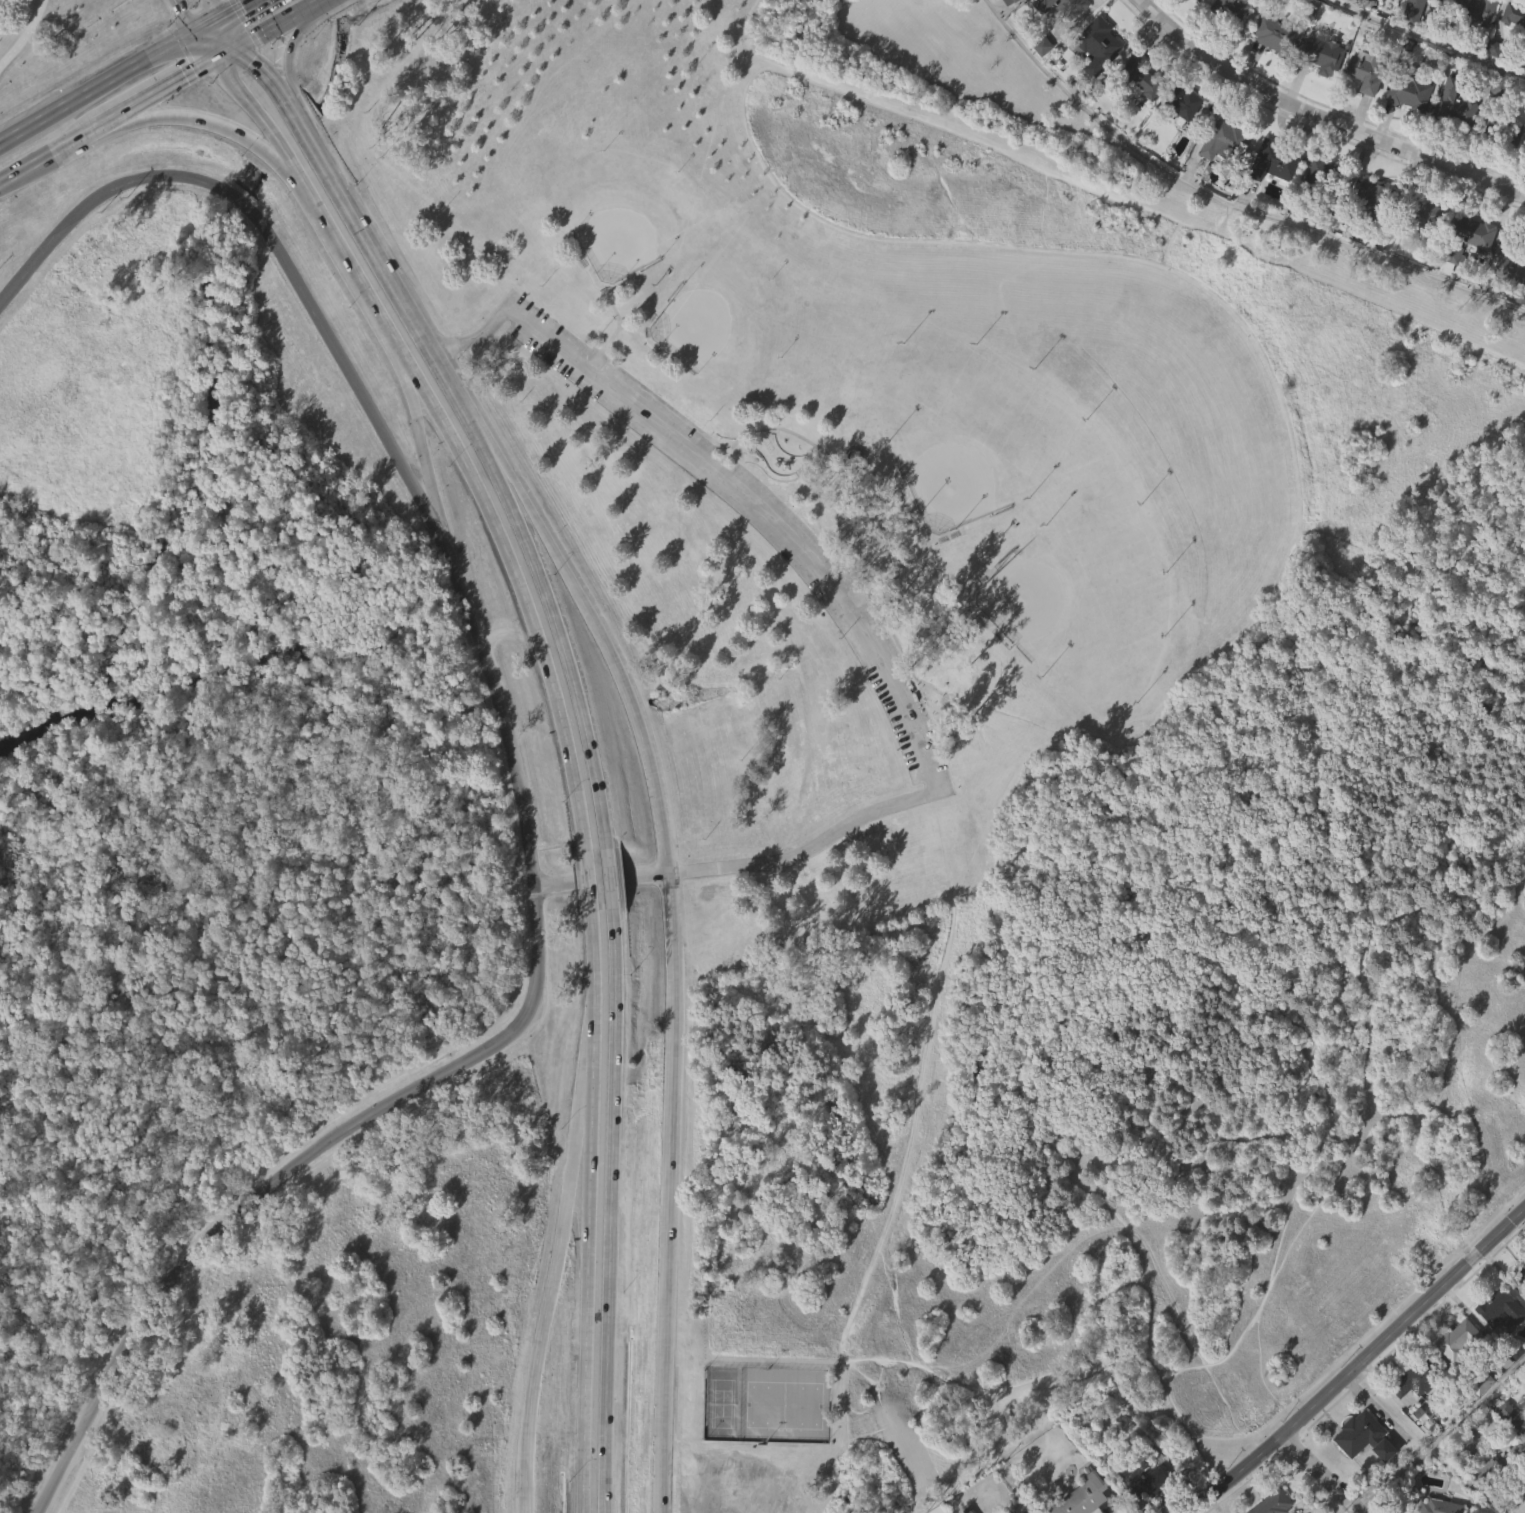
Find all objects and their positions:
building: (1397, 0)
building: (1163, 1)
building: (1201, 1)
building: (1015, 2)
building: (1338, 4)
traffic signals: (244, 7)
building: (1066, 7)
building: (1234, 8)
traffic signals: (182, 9)
road: (216, 9)
road: (239, 9)
building: (1472, 10)
building: (1413, 11)
building: (1303, 13)
road: (743, 14)
building: (1513, 14)
road: (187, 16)
building: (1191, 21)
road: (280, 22)
park: (55, 31)
road: (234, 31)
building: (1421, 35)
building: (1233, 36)
road: (748, 37)
building: (1281, 37)
road: (1428, 37)
building: (1060, 40)
road: (208, 45)
building: (1472, 45)
road: (291, 47)
building: (1099, 47)
road: (231, 50)
road: (409, 52)
road: (37, 54)
building: (1324, 55)
traffic signals: (251, 56)
building: (1513, 56)
road: (265, 72)
building: (1370, 72)
building: (1269, 73)
building: (1142, 75)
traffic signals: (185, 79)
road: (112, 80)
building: (1498, 84)
building: (1041, 85)
building: (1096, 87)
building: (1412, 92)
building: (1325, 97)
building: (1188, 100)
building: (1455, 101)
road: (515, 102)
road: (139, 104)
road: (293, 110)
building: (1364, 110)
road: (1322, 116)
building: (1137, 117)
road: (205, 127)
building: (1500, 129)
building: (1408, 134)
road: (270, 136)
building: (1228, 138)
building: (1181, 143)
building: (1453, 143)
building: (1524, 148)
building: (1280, 159)
road: (30, 166)
building: (1491, 167)
building: (1328, 177)
building: (1223, 181)
road: (335, 186)
building: (1378, 198)
road: (1227, 201)
building: (1274, 202)
road: (1151, 212)
building: (1317, 214)
building: (1421, 216)
building: (1368, 234)
building: (1464, 236)
park: (617, 240)
road: (907, 240)
building: (1425, 255)
building: (1508, 260)
building: (1470, 273)
road: (367, 294)
building: (1510, 306)
park: (693, 324)
road: (1319, 337)
road: (439, 362)
road: (1271, 374)
road: (1403, 409)
road: (435, 410)
road: (427, 450)
park: (951, 483)
road: (542, 535)
road: (826, 589)
park: (1023, 597)
road: (539, 643)
road: (566, 657)
park: (1004, 700)
road: (638, 732)
road: (517, 785)
road: (610, 877)
road: (589, 880)
road: (599, 880)
park: (254, 883)
road: (591, 915)
road: (1369, 1007)
road: (929, 1029)
road: (693, 1085)
road: (581, 1087)
road: (977, 1125)
road: (668, 1193)
road: (608, 1210)
road: (589, 1216)
building: (1519, 1272)
road: (893, 1305)
building: (1501, 1308)
road: (1404, 1321)
road: (1192, 1341)
building: (1462, 1344)
building: (1497, 1348)
road: (1334, 1351)
road: (1260, 1360)
building: (1457, 1378)
road: (534, 1381)
building: (1412, 1381)
road: (869, 1389)
building: (1412, 1418)
building: (1478, 1420)
building: (1523, 1428)
building: (1358, 1433)
road: (1446, 1444)
building: (1384, 1449)
road: (775, 1456)
building: (1511, 1456)
building: (1495, 1468)
road: (1234, 1473)
road: (1323, 1473)
building: (1362, 1474)
building: (1147, 1478)
building: (1085, 1496)
building: (1507, 1497)
building: (1276, 1503)
building: (1139, 1506)
building: (1034, 1510)
road: (1358, 1511)

